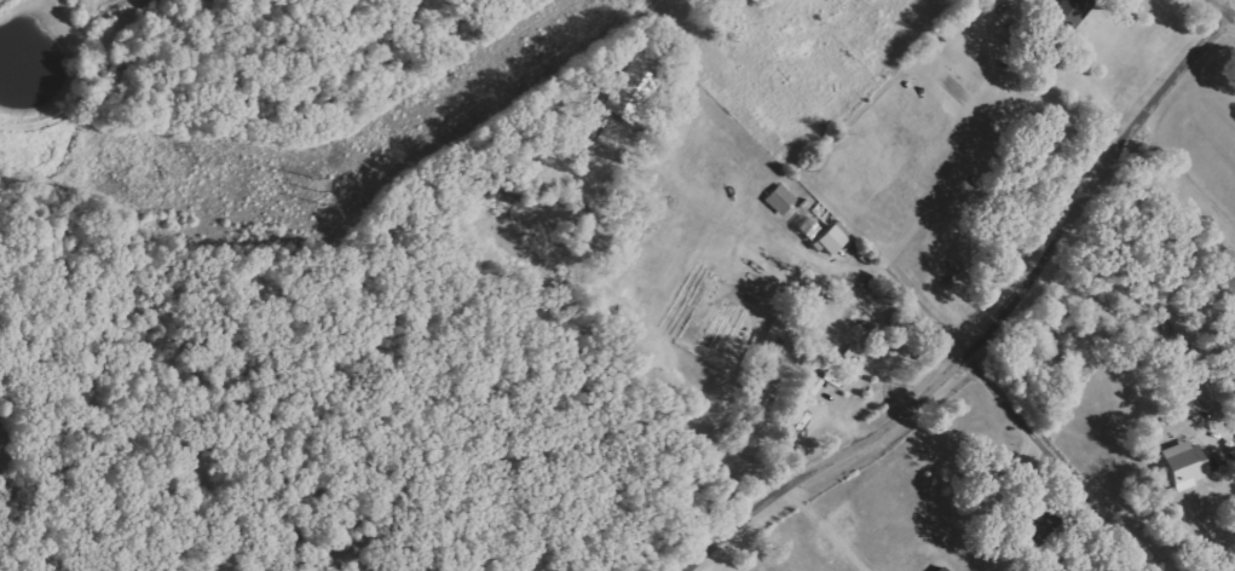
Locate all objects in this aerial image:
building: (1075, 10)
road: (1228, 18)
road: (1216, 19)
building: (633, 87)
power tower: (316, 183)
building: (781, 200)
building: (833, 238)
road: (796, 247)
road: (981, 315)
road: (1015, 410)
building: (1188, 465)
road: (830, 536)
building: (943, 569)

